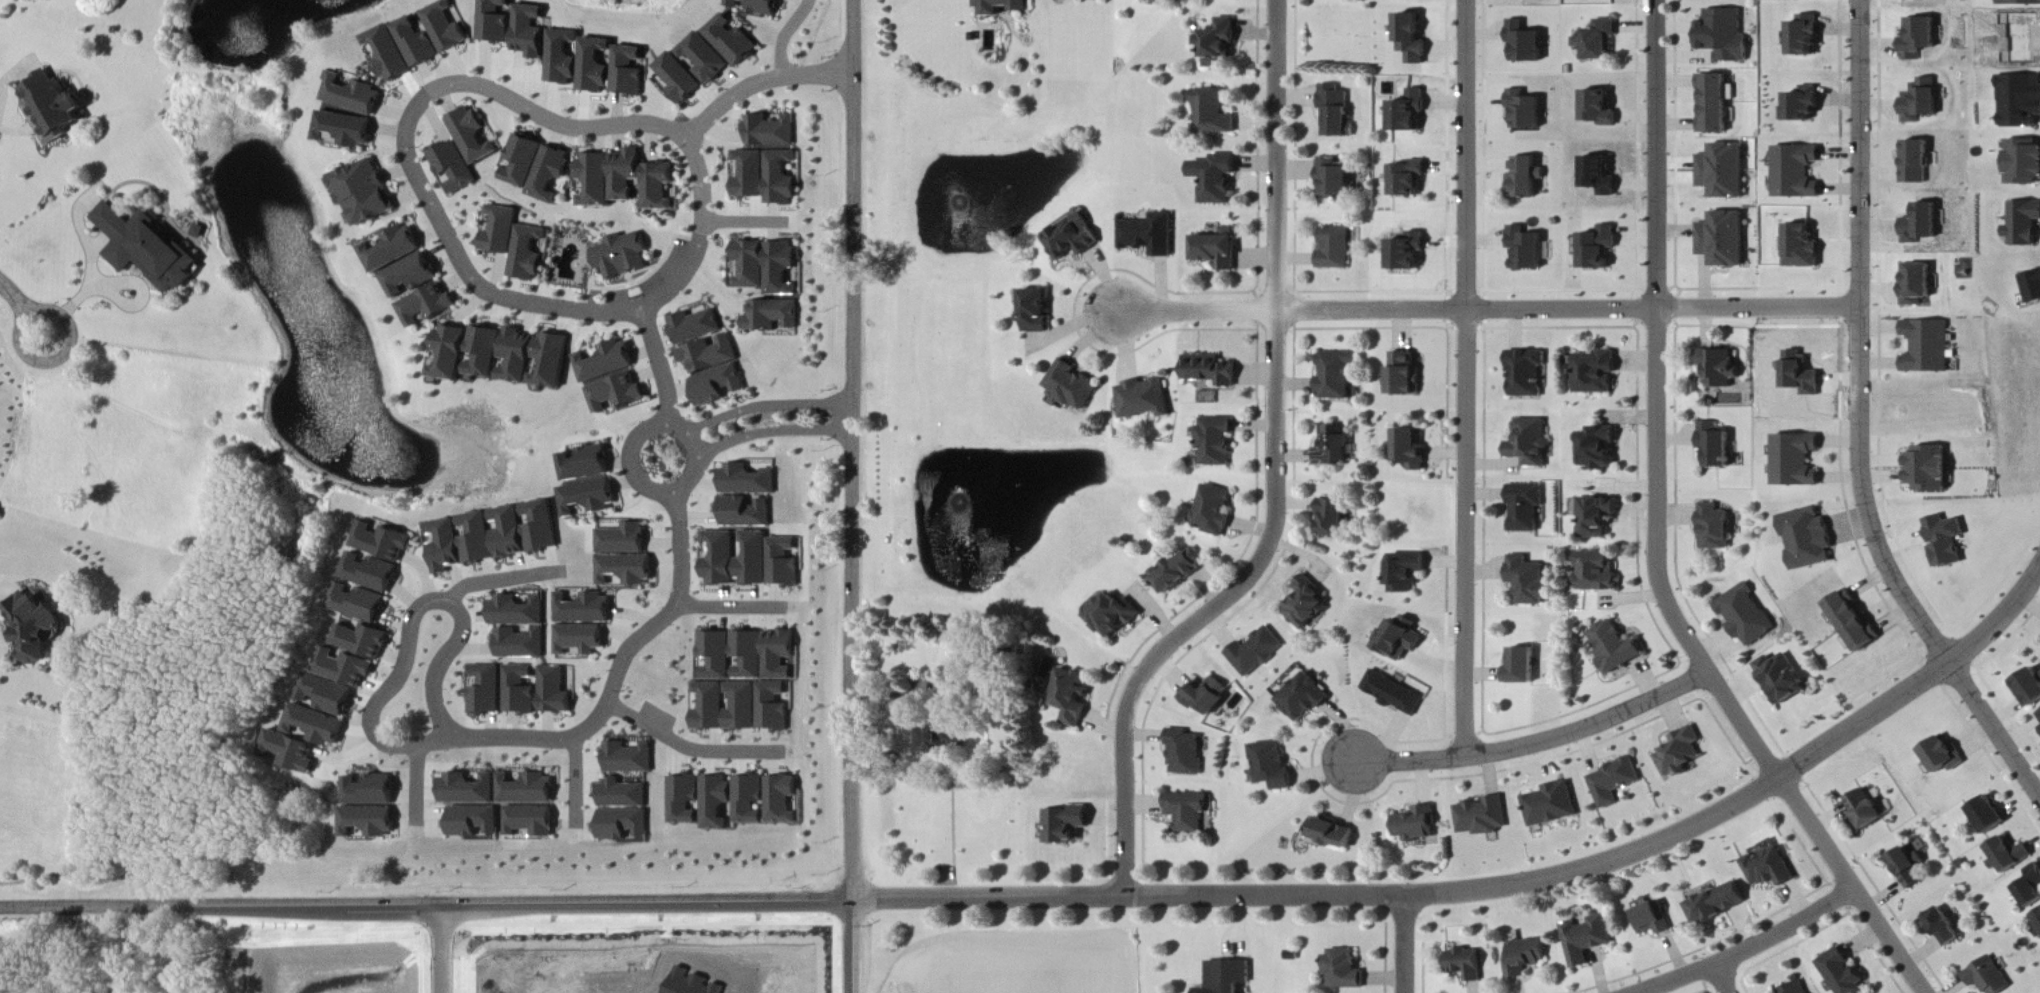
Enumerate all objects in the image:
building: (2020, 3)
building: (758, 6)
building: (1002, 7)
building: (496, 21)
building: (447, 28)
building: (531, 32)
road: (787, 35)
building: (1726, 36)
building: (1808, 36)
building: (1921, 39)
building: (1412, 40)
building: (1602, 40)
building: (733, 41)
building: (1526, 43)
building: (417, 44)
building: (1219, 45)
building: (388, 54)
building: (563, 58)
building: (706, 59)
building: (596, 66)
building: (630, 72)
road: (11, 77)
building: (680, 79)
road: (759, 83)
building: (352, 96)
building: (2021, 101)
building: (1923, 102)
building: (1714, 105)
building: (1806, 105)
building: (51, 109)
building: (1601, 109)
building: (1526, 111)
building: (1214, 113)
building: (1334, 113)
building: (1410, 113)
building: (345, 129)
building: (770, 132)
building: (471, 137)
building: (522, 162)
building: (1917, 163)
building: (2024, 163)
building: (452, 168)
building: (1723, 172)
building: (1798, 173)
building: (549, 175)
building: (625, 175)
building: (749, 176)
building: (1600, 177)
building: (779, 179)
building: (1215, 179)
building: (1410, 179)
building: (1527, 179)
building: (1333, 181)
building: (594, 182)
building: (658, 188)
building: (364, 194)
road: (745, 223)
building: (1922, 225)
building: (2023, 225)
building: (498, 231)
building: (199, 232)
road: (445, 232)
building: (1149, 236)
building: (1072, 239)
building: (1724, 240)
road: (99, 247)
building: (1804, 248)
building: (146, 249)
building: (1335, 249)
building: (1601, 249)
building: (392, 250)
building: (1217, 250)
building: (1526, 250)
building: (526, 254)
building: (1409, 254)
building: (620, 256)
building: (749, 265)
building: (780, 269)
road: (92, 274)
building: (409, 277)
building: (1918, 285)
building: (2032, 288)
road: (113, 289)
building: (427, 307)
road: (23, 309)
road: (1490, 310)
building: (1035, 312)
building: (771, 316)
building: (694, 327)
building: (1928, 347)
building: (467, 354)
building: (709, 355)
building: (519, 357)
building: (553, 362)
building: (606, 363)
road: (661, 366)
building: (1722, 369)
building: (1210, 371)
building: (1596, 373)
building: (1527, 374)
building: (1336, 376)
building: (1404, 376)
road: (1467, 379)
building: (718, 386)
building: (1071, 387)
building: (618, 395)
building: (1145, 400)
road: (768, 407)
road: (1861, 423)
road: (775, 433)
road: (643, 436)
building: (1215, 441)
building: (1531, 443)
building: (1715, 444)
building: (1334, 445)
building: (1411, 448)
building: (1599, 448)
road: (855, 450)
building: (1797, 459)
building: (586, 463)
building: (1929, 468)
road: (1276, 476)
building: (747, 480)
building: (589, 497)
building: (1525, 507)
building: (1213, 510)
building: (746, 512)
building: (1597, 516)
building: (1331, 517)
building: (1714, 527)
building: (525, 529)
road: (1657, 535)
building: (1809, 538)
building: (623, 539)
building: (1945, 540)
building: (383, 541)
building: (460, 542)
building: (720, 558)
building: (752, 558)
building: (782, 562)
building: (625, 568)
building: (1177, 570)
building: (370, 571)
building: (1597, 571)
building: (1406, 572)
road: (503, 579)
building: (1529, 580)
road: (4, 584)
building: (1305, 603)
building: (359, 604)
road: (730, 608)
building: (583, 609)
building: (516, 611)
building: (1114, 615)
building: (1746, 615)
building: (1855, 621)
building: (34, 626)
road: (412, 627)
building: (579, 638)
building: (1403, 638)
building: (362, 640)
building: (520, 644)
building: (1617, 646)
building: (1258, 652)
building: (715, 654)
building: (748, 654)
building: (778, 654)
building: (1523, 665)
building: (345, 668)
road: (619, 674)
building: (1783, 677)
building: (2028, 686)
building: (486, 690)
building: (519, 690)
building: (554, 691)
building: (1396, 693)
building: (330, 695)
building: (1207, 695)
building: (1075, 696)
building: (1307, 697)
building: (709, 706)
building: (741, 706)
building: (772, 706)
building: (2039, 714)
building: (317, 725)
building: (941, 737)
road: (1539, 743)
road: (690, 749)
building: (290, 751)
building: (1186, 753)
building: (1682, 753)
building: (1942, 755)
building: (628, 758)
building: (1274, 765)
building: (1615, 782)
road: (416, 785)
building: (525, 789)
building: (466, 790)
building: (370, 791)
building: (621, 794)
building: (682, 799)
building: (748, 799)
building: (781, 799)
building: (714, 801)
building: (1553, 804)
building: (1865, 810)
building: (1188, 812)
building: (1989, 814)
building: (1483, 816)
building: (367, 821)
building: (472, 821)
building: (528, 821)
building: (620, 824)
building: (1064, 824)
building: (1417, 825)
building: (1334, 833)
building: (2011, 853)
building: (1909, 867)
building: (1770, 869)
building: (2031, 887)
road: (1497, 888)
road: (427, 899)
building: (1719, 903)
building: (2038, 917)
building: (1945, 928)
building: (1586, 939)
road: (1404, 944)
road: (445, 946)
road: (855, 947)
road: (1751, 949)
building: (1524, 957)
building: (1466, 964)
building: (1344, 969)
building: (1843, 973)
building: (1227, 976)
building: (1989, 976)
road: (1721, 979)
building: (1794, 988)

